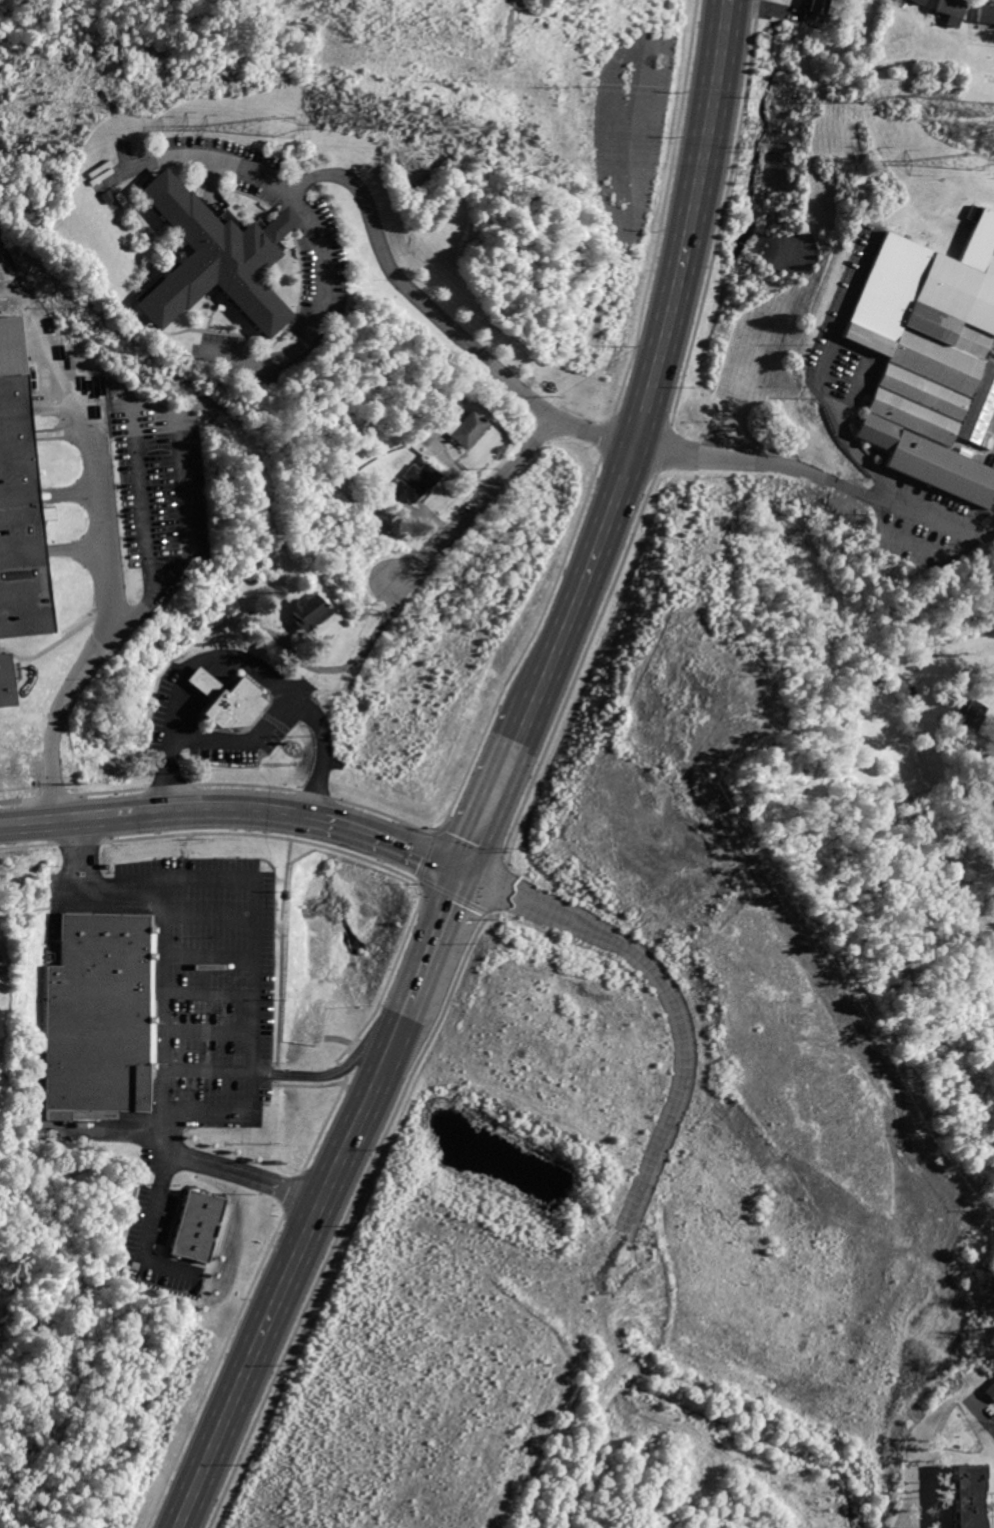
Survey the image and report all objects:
building: (921, 2)
building: (814, 10)
building: (951, 11)
building: (985, 13)
power tower: (280, 127)
power tower: (973, 161)
road: (317, 232)
building: (221, 249)
road: (413, 289)
road: (656, 354)
building: (931, 359)
road: (827, 375)
building: (465, 428)
road: (99, 429)
road: (754, 460)
road: (506, 476)
building: (412, 486)
building: (16, 505)
road: (933, 515)
building: (306, 611)
road: (211, 653)
building: (2, 685)
building: (224, 698)
road: (58, 713)
building: (970, 716)
road: (532, 721)
road: (265, 726)
road: (992, 740)
road: (244, 783)
road: (169, 784)
road: (109, 790)
road: (315, 794)
road: (53, 795)
road: (17, 798)
road: (494, 808)
road: (177, 812)
road: (385, 813)
road: (26, 822)
road: (265, 834)
road: (81, 841)
road: (384, 842)
road: (29, 844)
road: (430, 853)
traffic signals: (466, 872)
road: (420, 880)
road: (490, 882)
road: (499, 883)
road: (457, 894)
road: (206, 913)
road: (493, 913)
road: (162, 942)
road: (434, 944)
road: (206, 952)
road: (280, 952)
park: (2, 967)
road: (388, 978)
road: (206, 992)
road: (249, 996)
building: (102, 1018)
road: (685, 1018)
building: (0, 1029)
road: (205, 1030)
road: (398, 1030)
road: (260, 1061)
road: (205, 1068)
road: (339, 1068)
road: (324, 1074)
road: (260, 1083)
road: (306, 1085)
road: (323, 1123)
road: (109, 1126)
road: (176, 1153)
road: (255, 1178)
road: (294, 1193)
road: (347, 1214)
building: (195, 1225)
road: (145, 1231)
road: (287, 1286)
road: (216, 1371)
building: (990, 1389)
road: (983, 1411)
building: (970, 1494)

